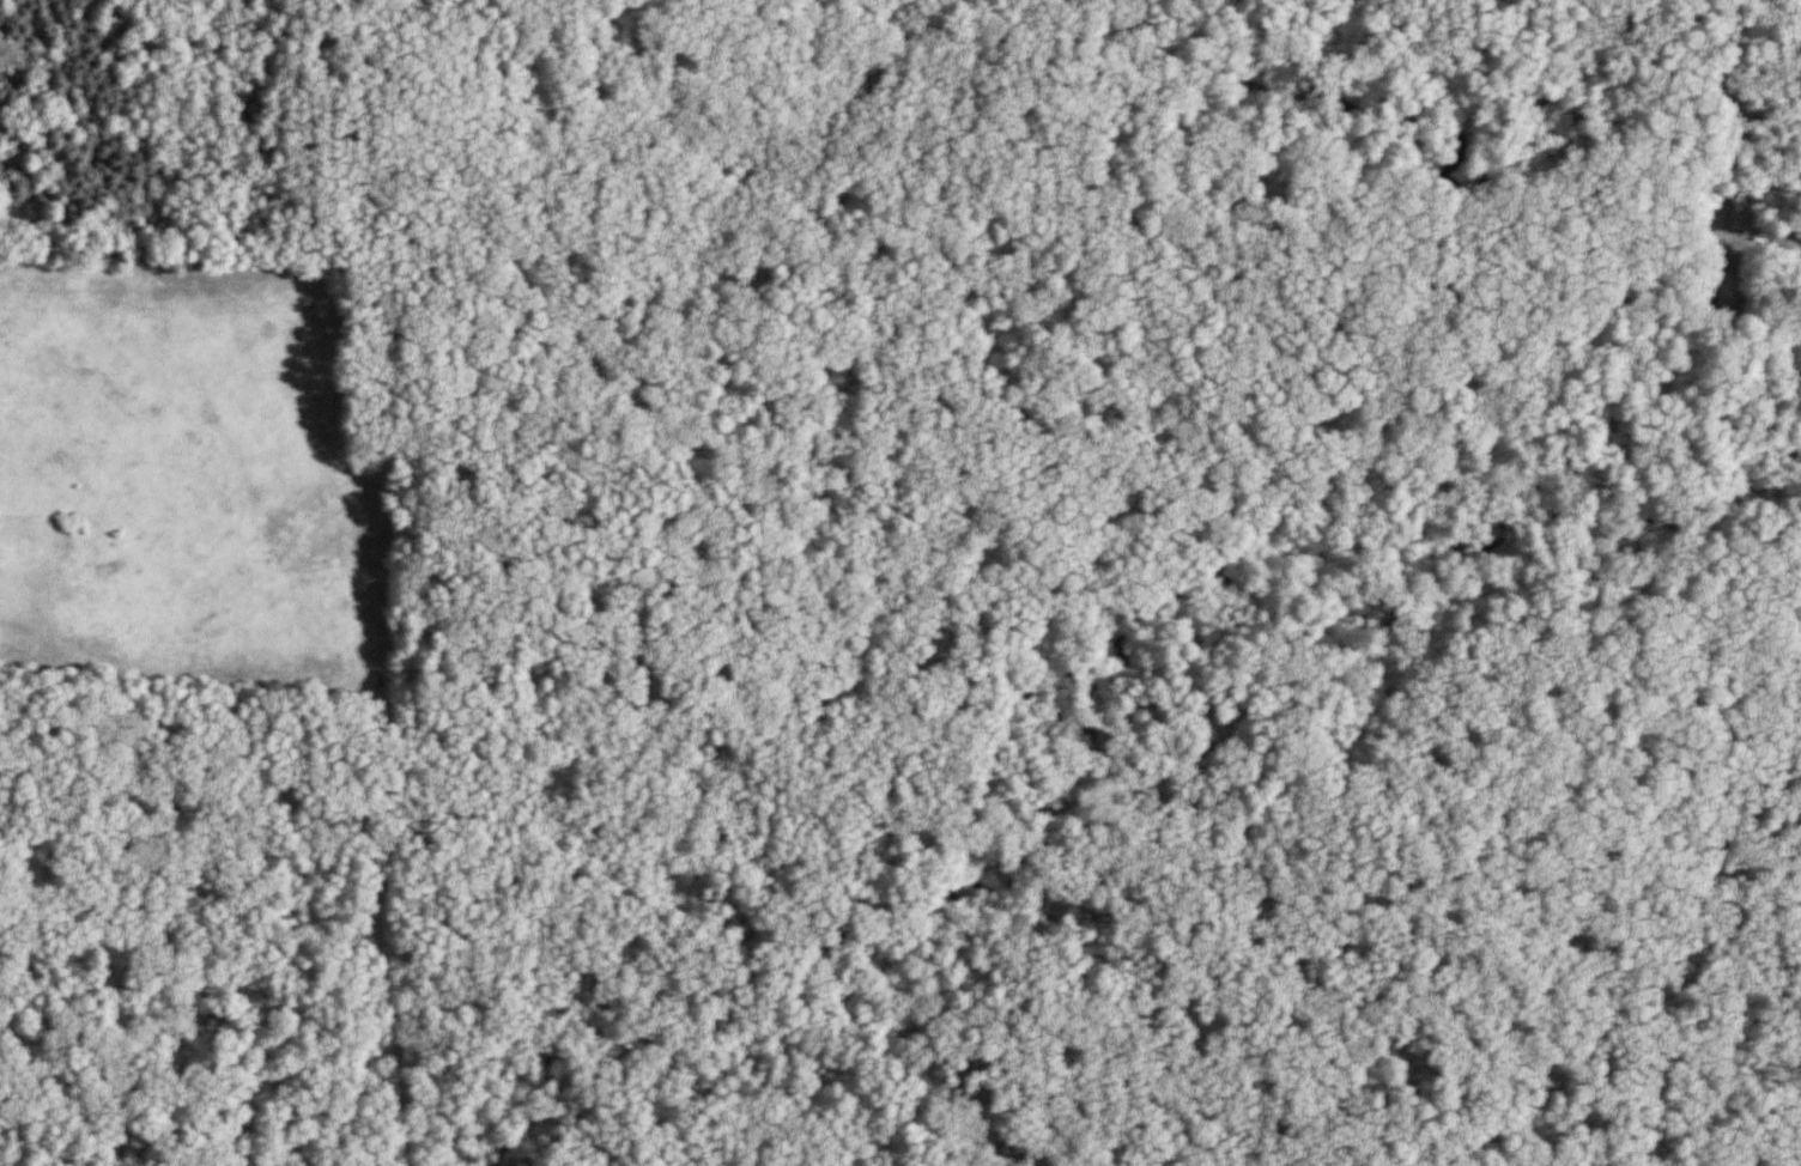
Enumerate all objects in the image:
road: (1767, 251)

